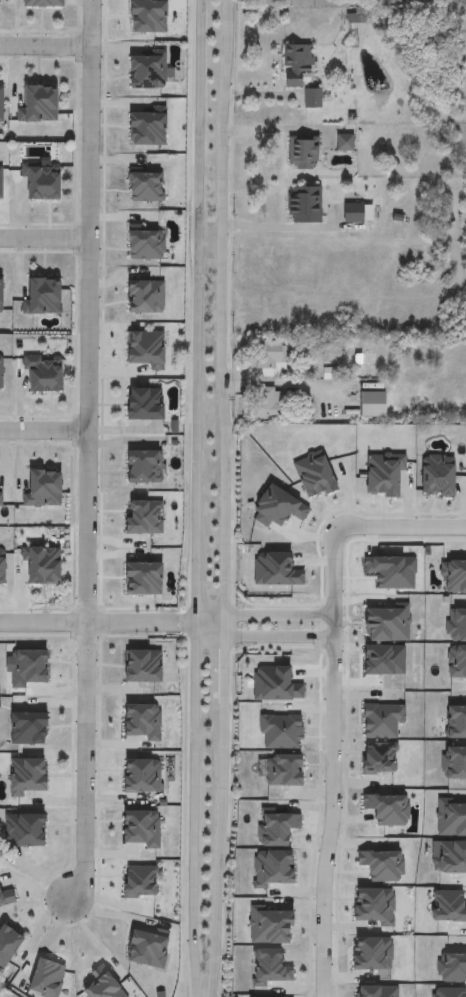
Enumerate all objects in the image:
road: (46, 47)
building: (293, 66)
building: (149, 70)
building: (1, 104)
building: (42, 104)
building: (150, 129)
road: (277, 129)
building: (303, 153)
building: (44, 182)
building: (2, 184)
building: (304, 206)
building: (352, 215)
road: (285, 227)
road: (209, 241)
road: (45, 242)
building: (2, 296)
building: (46, 297)
road: (220, 307)
building: (270, 360)
building: (45, 372)
building: (1, 373)
road: (279, 384)
building: (265, 401)
building: (148, 403)
building: (370, 406)
road: (44, 433)
road: (87, 453)
building: (145, 466)
road: (196, 498)
road: (402, 527)
building: (45, 564)
road: (278, 615)
road: (210, 619)
road: (98, 624)
road: (224, 626)
road: (210, 630)
road: (278, 637)
road: (224, 670)
road: (332, 762)
building: (25, 831)
road: (217, 850)
road: (96, 941)
road: (45, 942)

